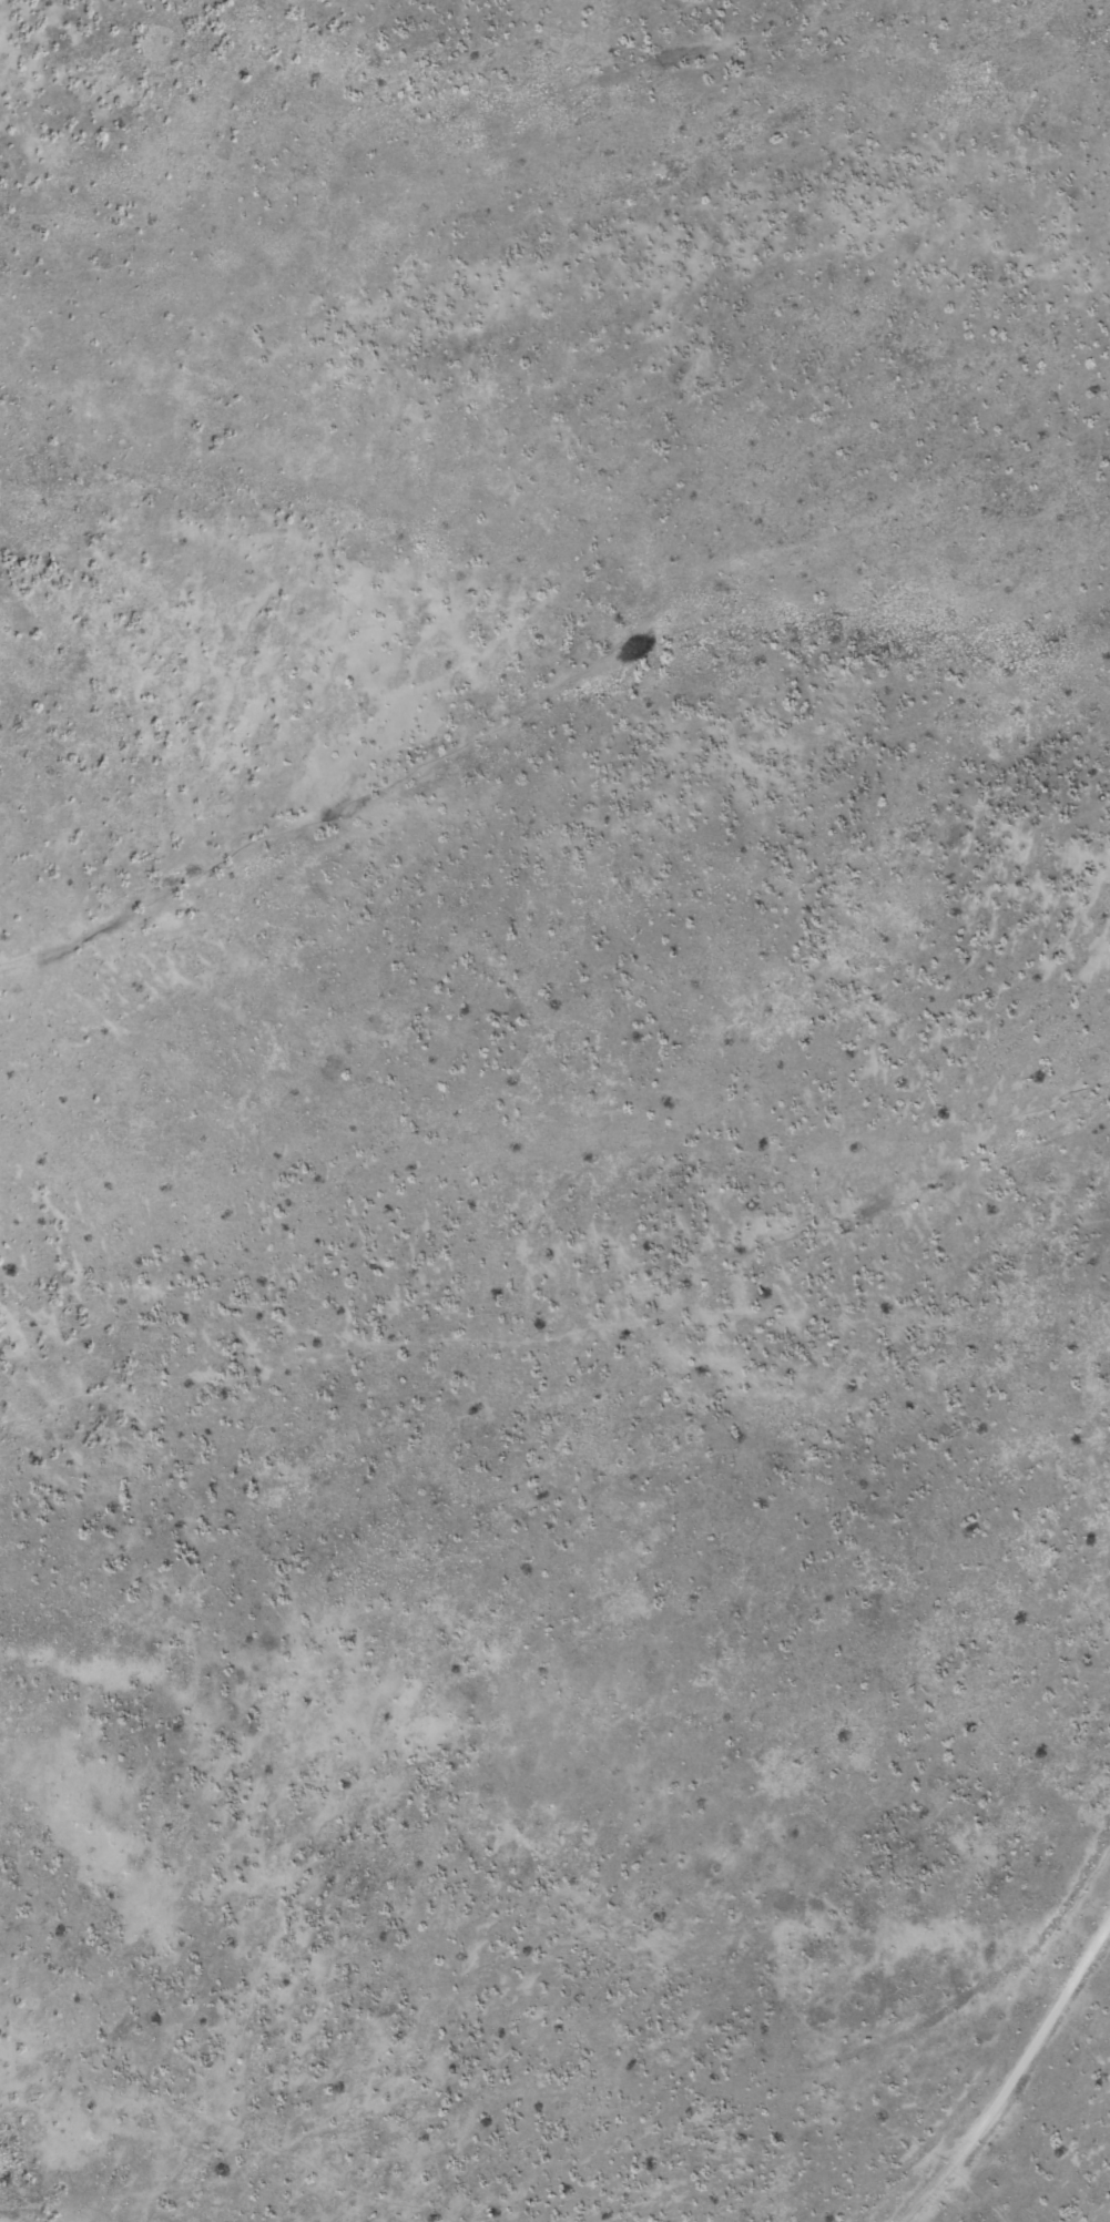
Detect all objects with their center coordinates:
road: (1037, 2104)

